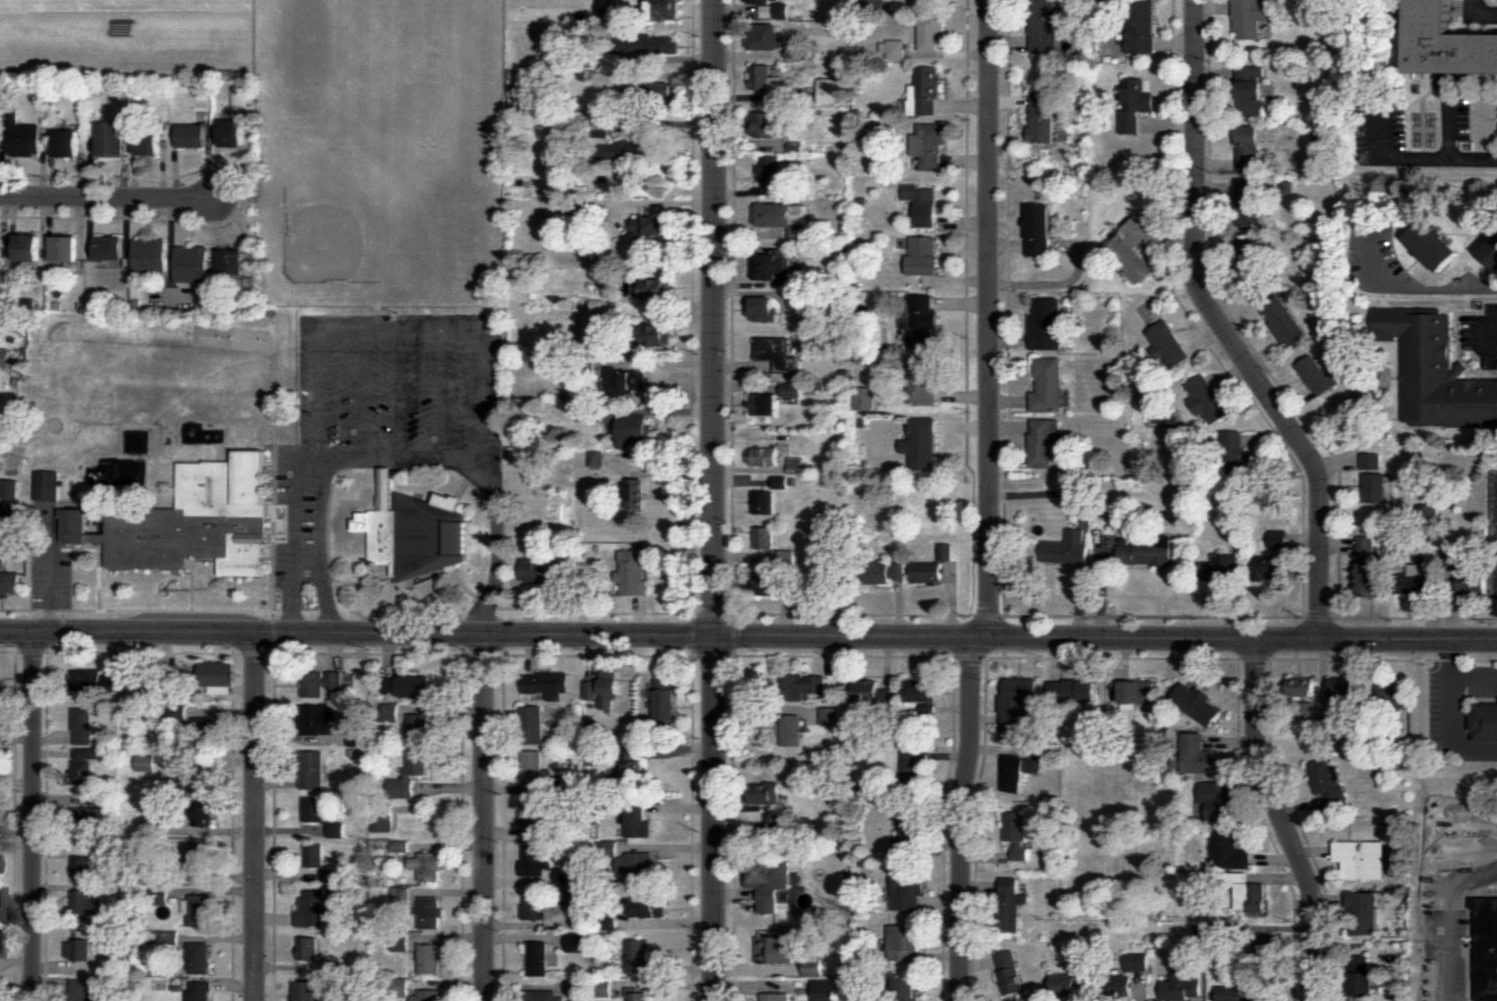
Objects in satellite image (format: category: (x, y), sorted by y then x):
building: (876, 3)
building: (933, 3)
park: (121, 6)
building: (773, 9)
building: (661, 11)
building: (616, 15)
road: (1480, 15)
building: (1251, 18)
building: (1045, 27)
building: (1141, 27)
building: (931, 31)
building: (764, 38)
building: (1450, 43)
building: (647, 45)
building: (896, 51)
building: (634, 77)
building: (765, 79)
building: (204, 90)
building: (826, 90)
building: (1253, 91)
building: (927, 93)
building: (664, 94)
building: (0, 99)
building: (1134, 107)
building: (1043, 119)
building: (601, 124)
building: (766, 125)
parking lot: (1378, 127)
building: (233, 134)
building: (22, 136)
building: (193, 138)
building: (109, 139)
park: (381, 142)
building: (149, 143)
building: (67, 144)
building: (930, 146)
building: (1248, 149)
building: (636, 151)
road: (1438, 159)
building: (772, 169)
building: (1287, 188)
road: (107, 197)
road: (242, 197)
building: (1249, 202)
building: (924, 205)
building: (783, 218)
building: (654, 225)
building: (1041, 231)
building: (1434, 245)
building: (2, 248)
building: (65, 248)
building: (1133, 248)
building: (28, 249)
building: (108, 249)
building: (1491, 253)
building: (922, 255)
building: (151, 256)
building: (234, 262)
building: (1247, 262)
building: (192, 264)
building: (777, 267)
building: (655, 290)
road: (1436, 292)
building: (802, 301)
building: (585, 302)
building: (766, 310)
road: (991, 317)
building: (919, 319)
road: (1235, 321)
building: (1285, 322)
building: (1045, 325)
road: (1227, 328)
building: (591, 329)
road: (406, 333)
building: (657, 336)
road: (1487, 337)
building: (1168, 345)
building: (780, 352)
building: (6, 357)
building: (1436, 371)
building: (1320, 375)
building: (628, 378)
parking lot: (401, 380)
building: (923, 384)
building: (1048, 384)
building: (792, 388)
building: (1208, 398)
building: (866, 399)
building: (766, 403)
building: (591, 412)
road: (0, 424)
building: (629, 430)
building: (1044, 441)
building: (922, 443)
building: (1239, 455)
building: (765, 456)
road: (399, 459)
building: (599, 459)
building: (1371, 460)
building: (797, 465)
building: (783, 481)
building: (48, 485)
building: (1375, 487)
building: (10, 488)
building: (638, 492)
road: (717, 500)
building: (766, 502)
building: (8, 511)
building: (1429, 520)
building: (193, 521)
parking lot: (297, 523)
road: (328, 524)
road: (274, 527)
building: (418, 531)
road: (293, 534)
building: (765, 537)
building: (1279, 539)
building: (1366, 547)
building: (1069, 548)
building: (946, 552)
building: (1147, 553)
building: (3, 556)
building: (788, 556)
building: (1453, 558)
building: (1220, 567)
building: (1274, 568)
building: (543, 570)
building: (634, 572)
building: (882, 572)
building: (928, 572)
building: (1372, 579)
building: (10, 581)
parking lot: (52, 581)
building: (1413, 581)
building: (774, 582)
building: (1475, 585)
road: (652, 613)
road: (692, 615)
road: (852, 615)
road: (986, 615)
road: (1176, 616)
road: (1321, 617)
road: (1418, 618)
road: (62, 631)
road: (748, 635)
road: (31, 652)
road: (139, 652)
road: (274, 652)
road: (462, 652)
road: (368, 653)
road: (842, 654)
road: (970, 655)
road: (595, 656)
road: (1116, 657)
road: (1254, 658)
building: (217, 677)
road: (1475, 679)
building: (96, 680)
building: (547, 683)
building: (326, 684)
building: (390, 684)
building: (414, 686)
building: (802, 687)
building: (1345, 687)
building: (591, 689)
building: (611, 691)
building: (921, 695)
building: (1077, 695)
building: (1137, 695)
building: (664, 696)
building: (871, 696)
building: (1393, 696)
building: (1304, 698)
building: (1017, 704)
building: (1199, 704)
building: (179, 713)
road: (1452, 716)
building: (831, 717)
building: (317, 719)
road: (1271, 722)
building: (1488, 722)
building: (1, 723)
building: (533, 725)
building: (84, 726)
building: (1330, 726)
building: (419, 729)
building: (207, 730)
building: (793, 732)
building: (1198, 757)
building: (631, 762)
building: (85, 764)
building: (147, 764)
building: (912, 766)
building: (533, 768)
building: (1021, 768)
building: (314, 771)
building: (410, 777)
building: (576, 783)
building: (1328, 784)
building: (196, 785)
building: (767, 794)
building: (100, 799)
building: (1217, 801)
building: (315, 810)
building: (204, 815)
road: (35, 817)
road: (255, 817)
road: (486, 817)
road: (963, 817)
building: (87, 818)
building: (384, 818)
road: (1284, 819)
road: (15, 820)
building: (639, 820)
building: (536, 821)
building: (774, 823)
building: (910, 823)
park: (1115, 825)
building: (159, 826)
building: (338, 829)
building: (1017, 835)
building: (401, 846)
building: (607, 849)
building: (1233, 852)
building: (315, 854)
building: (204, 858)
building: (1362, 859)
building: (536, 861)
building: (82, 865)
building: (429, 865)
building: (637, 868)
building: (161, 869)
building: (332, 873)
building: (566, 876)
building: (768, 878)
building: (908, 887)
building: (1248, 892)
building: (402, 894)
building: (161, 895)
building: (0, 896)
building: (535, 904)
building: (1011, 904)
building: (649, 907)
building: (89, 909)
building: (202, 909)
building: (315, 909)
building: (430, 911)
building: (1363, 911)
building: (608, 921)
building: (1210, 932)
building: (170, 939)
building: (401, 941)
building: (582, 941)
building: (1, 942)
building: (903, 942)
building: (310, 948)
building: (1487, 948)
building: (780, 949)
building: (85, 950)
building: (1264, 950)
building: (640, 956)
building: (202, 957)
road: (1447, 957)
building: (541, 958)
building: (430, 959)
building: (1084, 960)
building: (814, 966)
building: (336, 969)
building: (1012, 973)
building: (1129, 975)
building: (1362, 977)
building: (1183, 984)
building: (1066, 985)
building: (582, 987)
building: (401, 988)
building: (604, 988)
building: (908, 988)
building: (82, 989)
building: (828, 989)
building: (306, 990)
building: (201, 991)
building: (1240, 992)
building: (545, 994)
building: (429, 996)
building: (641, 996)
building: (776, 997)
building: (333, 1000)

